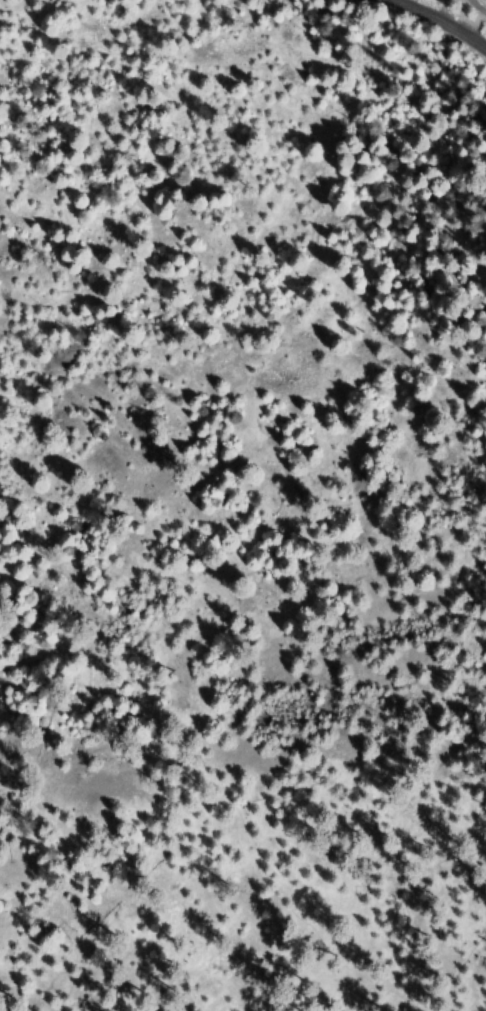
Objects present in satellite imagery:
road: (437, 20)

